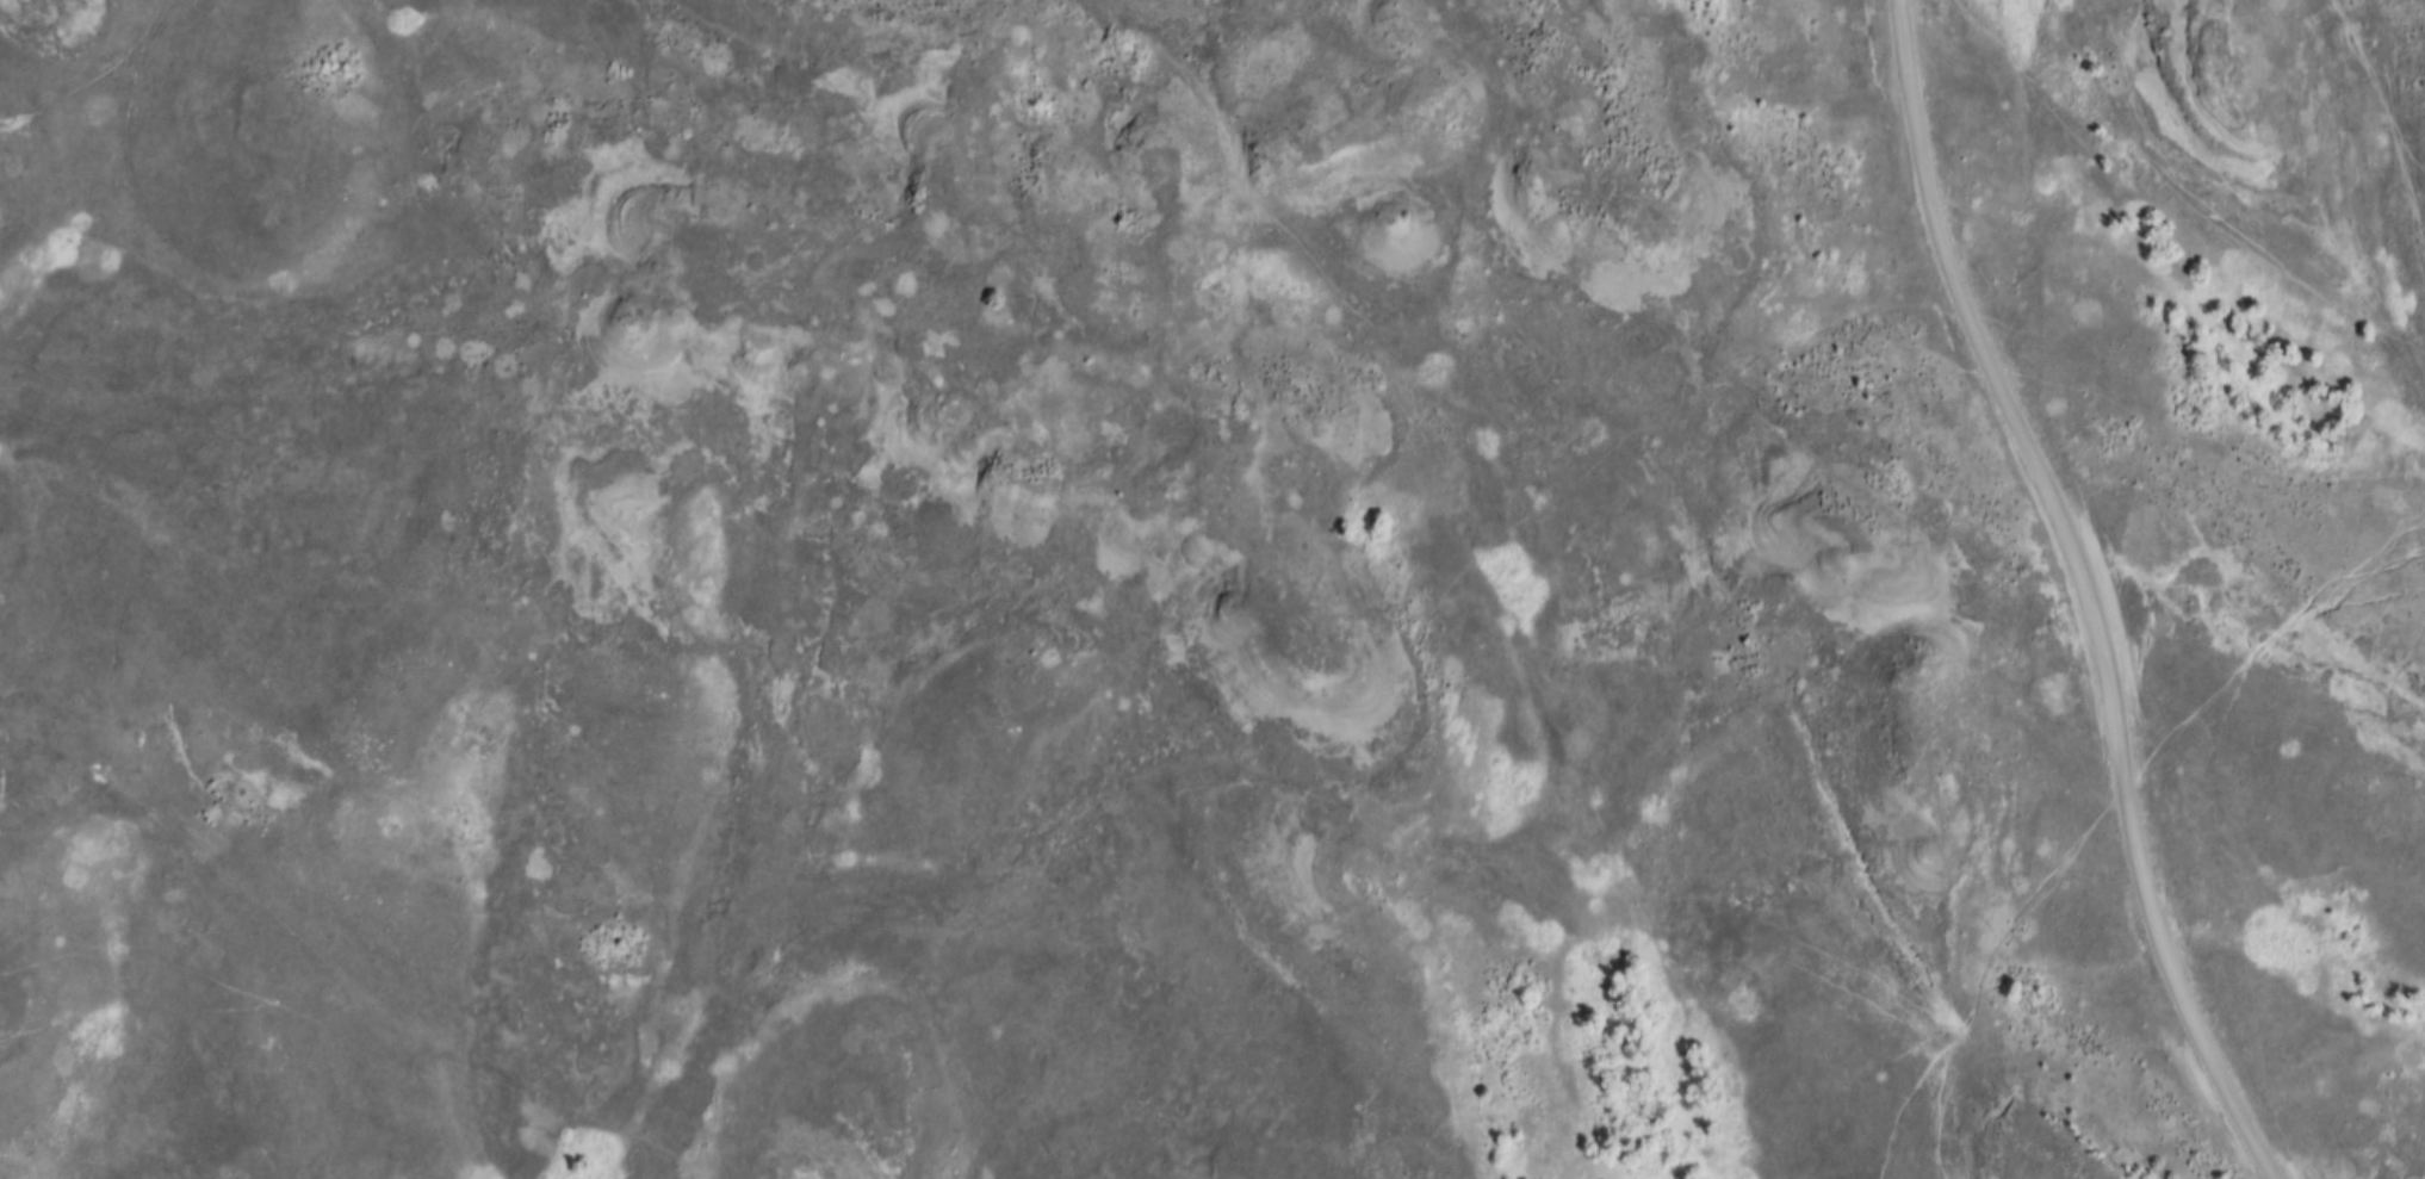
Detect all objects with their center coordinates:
road: (2090, 589)

